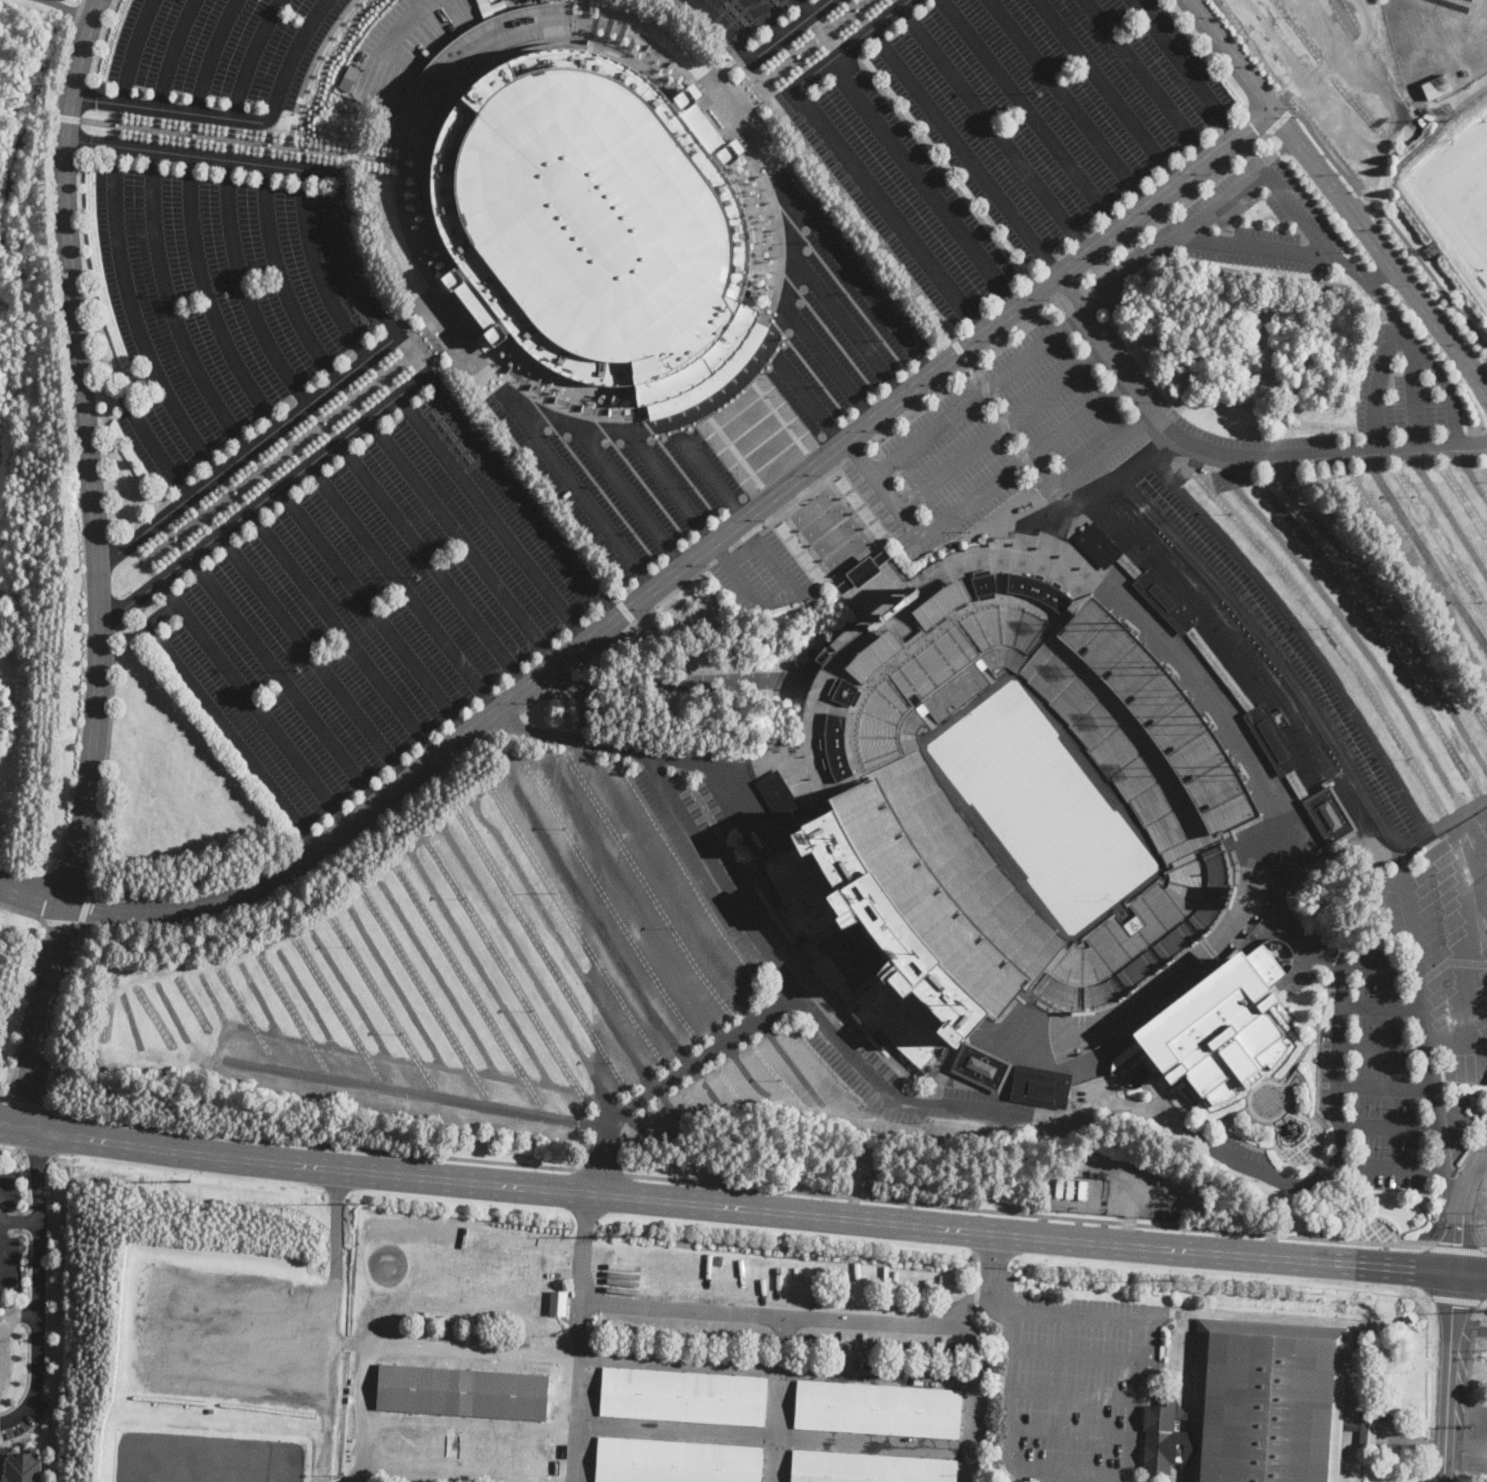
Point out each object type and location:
building: (481, 2)
road: (58, 6)
building: (498, 6)
road: (807, 6)
road: (587, 9)
road: (85, 14)
road: (767, 17)
parking lot: (740, 19)
road: (723, 27)
road: (402, 29)
road: (789, 30)
road: (849, 43)
road: (133, 50)
road: (171, 52)
parking lot: (225, 52)
road: (293, 53)
road: (1227, 53)
road: (211, 54)
road: (65, 56)
road: (250, 56)
building: (464, 61)
road: (1185, 66)
building: (348, 77)
road: (1144, 79)
building: (1436, 86)
road: (1106, 90)
road: (1069, 101)
road: (173, 110)
road: (1029, 113)
road: (68, 117)
road: (993, 128)
road: (743, 129)
parking lot: (1010, 132)
road: (248, 142)
road: (963, 151)
road: (202, 155)
road: (942, 170)
road: (1275, 181)
road: (922, 183)
park: (1463, 184)
road: (1172, 205)
building: (585, 210)
road: (887, 210)
road: (856, 211)
road: (792, 239)
road: (1383, 245)
road: (353, 258)
road: (1067, 265)
road: (317, 269)
road: (1432, 272)
road: (856, 273)
road: (1383, 273)
road: (280, 279)
road: (839, 283)
road: (1369, 283)
road: (1067, 286)
road: (243, 289)
road: (208, 299)
parking lot: (223, 301)
road: (171, 308)
road: (1399, 322)
road: (848, 323)
road: (827, 328)
park: (1247, 335)
road: (142, 339)
road: (961, 350)
road: (805, 362)
road: (829, 363)
road: (960, 368)
road: (387, 372)
road: (975, 372)
building: (711, 377)
road: (454, 390)
road: (1414, 393)
road: (977, 394)
parking lot: (731, 396)
road: (810, 399)
building: (1330, 409)
road: (563, 421)
road: (184, 423)
road: (1001, 426)
road: (1163, 446)
road: (250, 449)
road: (86, 450)
road: (855, 451)
road: (1229, 453)
road: (676, 462)
road: (1090, 464)
road: (1138, 467)
road: (1471, 473)
road: (589, 474)
road: (637, 475)
road: (709, 476)
road: (671, 486)
road: (579, 489)
road: (522, 493)
road: (629, 494)
road: (265, 496)
road: (979, 496)
road: (788, 503)
road: (1446, 513)
road: (491, 517)
road: (461, 540)
road: (748, 546)
building: (1098, 546)
road: (1423, 548)
road: (718, 553)
road: (722, 554)
road: (432, 563)
road: (402, 586)
road: (1384, 607)
road: (371, 610)
parking lot: (376, 610)
road: (626, 610)
road: (641, 615)
road: (1347, 626)
road: (342, 634)
road: (313, 656)
building: (1218, 671)
road: (283, 679)
road: (252, 703)
road: (110, 714)
road: (484, 719)
road: (220, 722)
road: (569, 736)
road: (712, 769)
building: (775, 796)
stadium: (996, 801)
building: (875, 803)
park: (1047, 809)
building: (1329, 816)
road: (1443, 824)
building: (1310, 825)
road: (720, 877)
road: (667, 880)
park: (1318, 888)
road: (31, 893)
road: (631, 901)
road: (594, 919)
road: (78, 923)
road: (1468, 942)
road: (563, 943)
road: (529, 968)
road: (488, 983)
road: (33, 987)
road: (446, 992)
road: (405, 1001)
road: (357, 1007)
road: (1382, 1009)
road: (1423, 1009)
road: (313, 1010)
road: (174, 1013)
road: (220, 1013)
road: (266, 1013)
road: (40, 1014)
road: (129, 1019)
building: (1019, 1023)
road: (1340, 1031)
building: (1216, 1033)
road: (1384, 1047)
road: (701, 1058)
building: (980, 1067)
road: (798, 1068)
road: (749, 1075)
road: (366, 1084)
building: (1041, 1086)
road: (704, 1087)
road: (1386, 1087)
road: (891, 1095)
road: (24, 1103)
road: (671, 1109)
road: (1187, 1127)
road: (1389, 1128)
road: (640, 1131)
road: (939, 1132)
road: (217, 1133)
road: (1482, 1153)
road: (602, 1159)
road: (1482, 1164)
road: (1392, 1169)
road: (603, 1172)
road: (27, 1178)
power tower: (186, 1181)
building: (1059, 1187)
building: (1070, 1188)
building: (1081, 1188)
road: (1451, 1190)
road: (995, 1199)
power tower: (367, 1200)
road: (725, 1206)
road: (1027, 1214)
road: (1458, 1216)
road: (30, 1220)
road: (18, 1222)
parking lot: (3, 1223)
power tower: (623, 1236)
road: (1457, 1249)
road: (28, 1257)
power tower: (858, 1257)
road: (1470, 1273)
road: (992, 1275)
power tower: (1171, 1280)
road: (36, 1283)
building: (558, 1302)
road: (631, 1303)
building: (978, 1307)
road: (1017, 1309)
road: (26, 1314)
road: (14, 1315)
road: (813, 1317)
road: (331, 1325)
road: (1469, 1326)
road: (454, 1348)
road: (1075, 1355)
road: (1468, 1369)
road: (779, 1370)
road: (28, 1372)
road: (1448, 1376)
road: (981, 1380)
road: (576, 1390)
building: (462, 1392)
parking lot: (1477, 1392)
road: (1072, 1394)
building: (683, 1396)
road: (1466, 1404)
building: (1256, 1406)
building: (878, 1409)
building: (1181, 1414)
road: (35, 1425)
building: (1351, 1427)
building: (1368, 1427)
road: (1070, 1432)
road: (1466, 1443)
road: (890, 1444)
building: (675, 1462)
building: (22, 1467)
building: (868, 1468)

